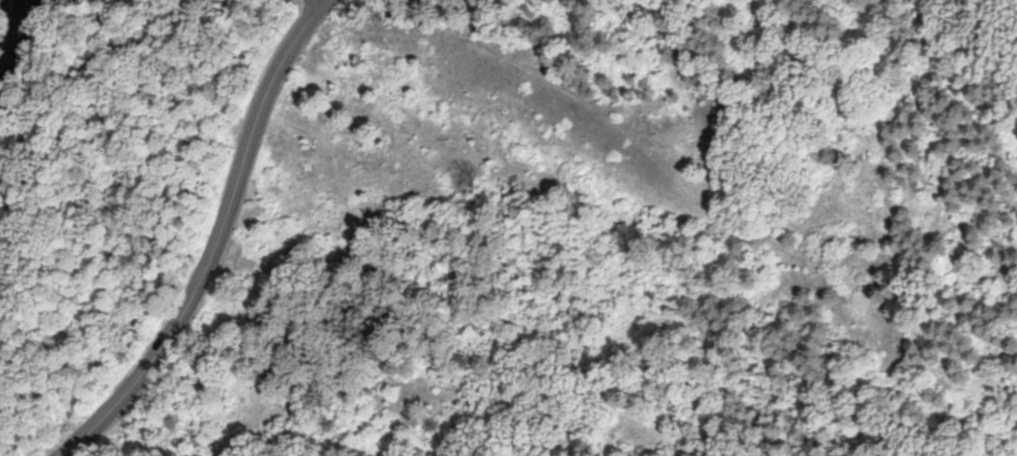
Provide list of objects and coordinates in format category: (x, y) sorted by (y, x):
road: (321, 0)
park: (89, 2)
road: (196, 4)
river: (15, 44)
road: (68, 85)
road: (662, 155)
park: (508, 228)
road: (217, 241)

